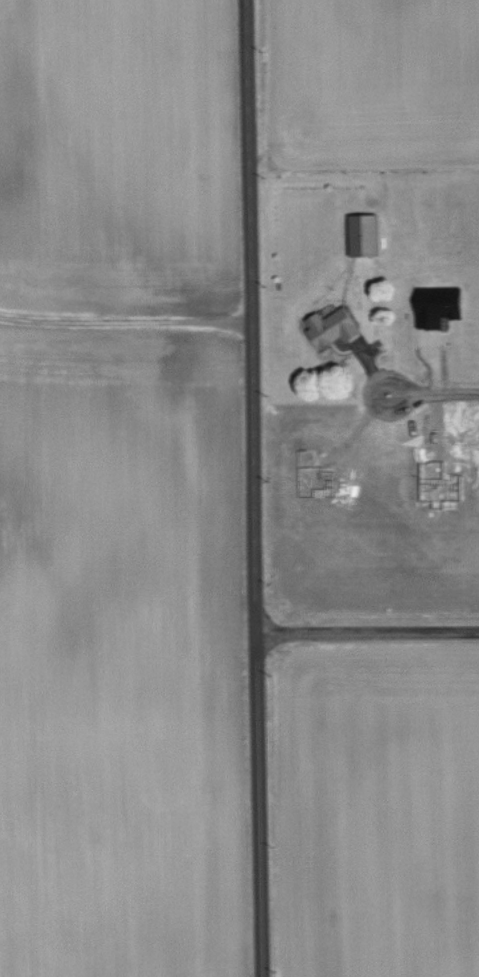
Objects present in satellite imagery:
road: (124, 321)
building: (333, 327)
road: (432, 395)
road: (250, 488)
road: (366, 632)

